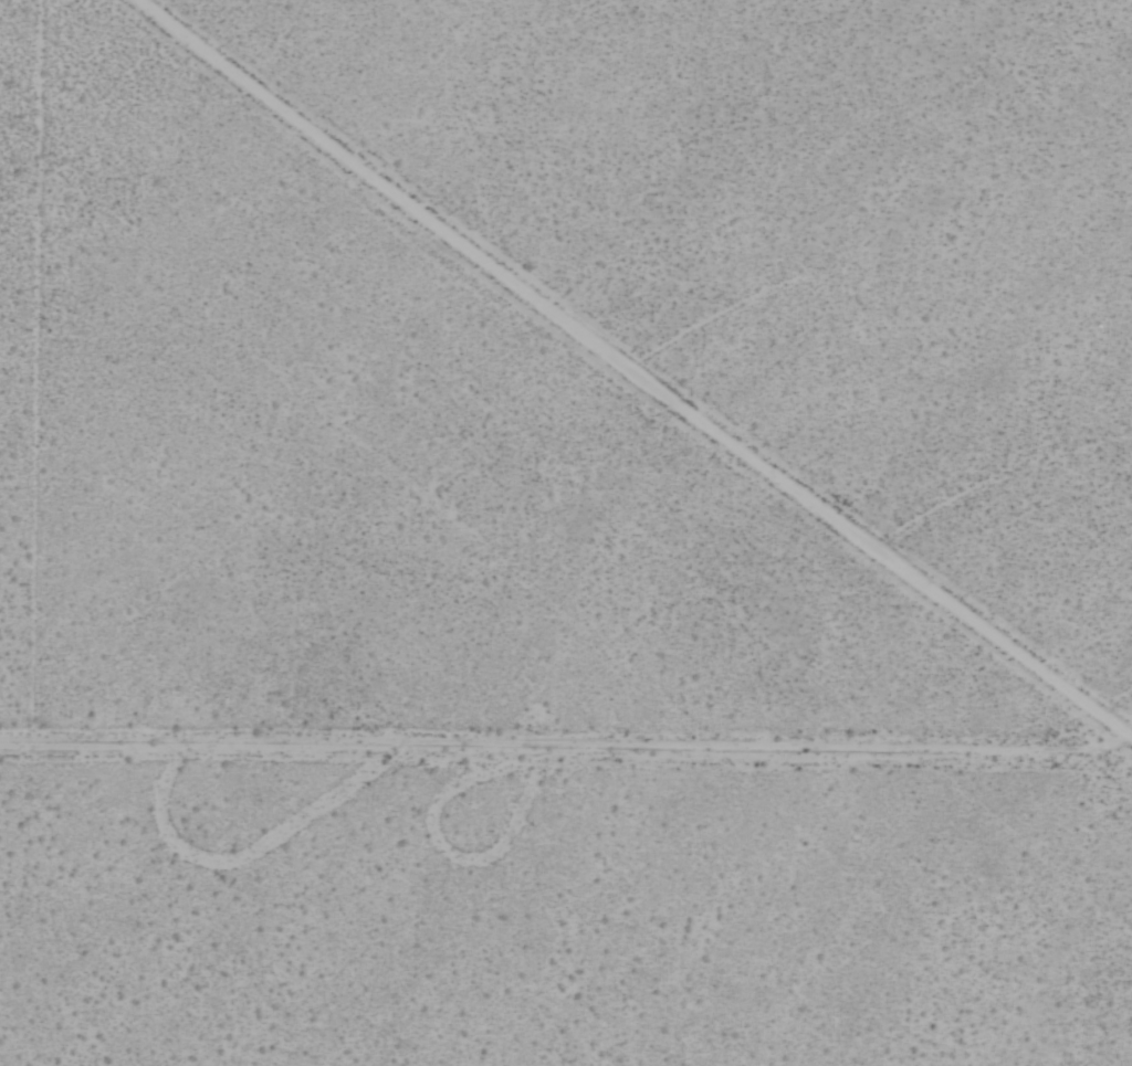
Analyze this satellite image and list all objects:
airport: (566, 532)

